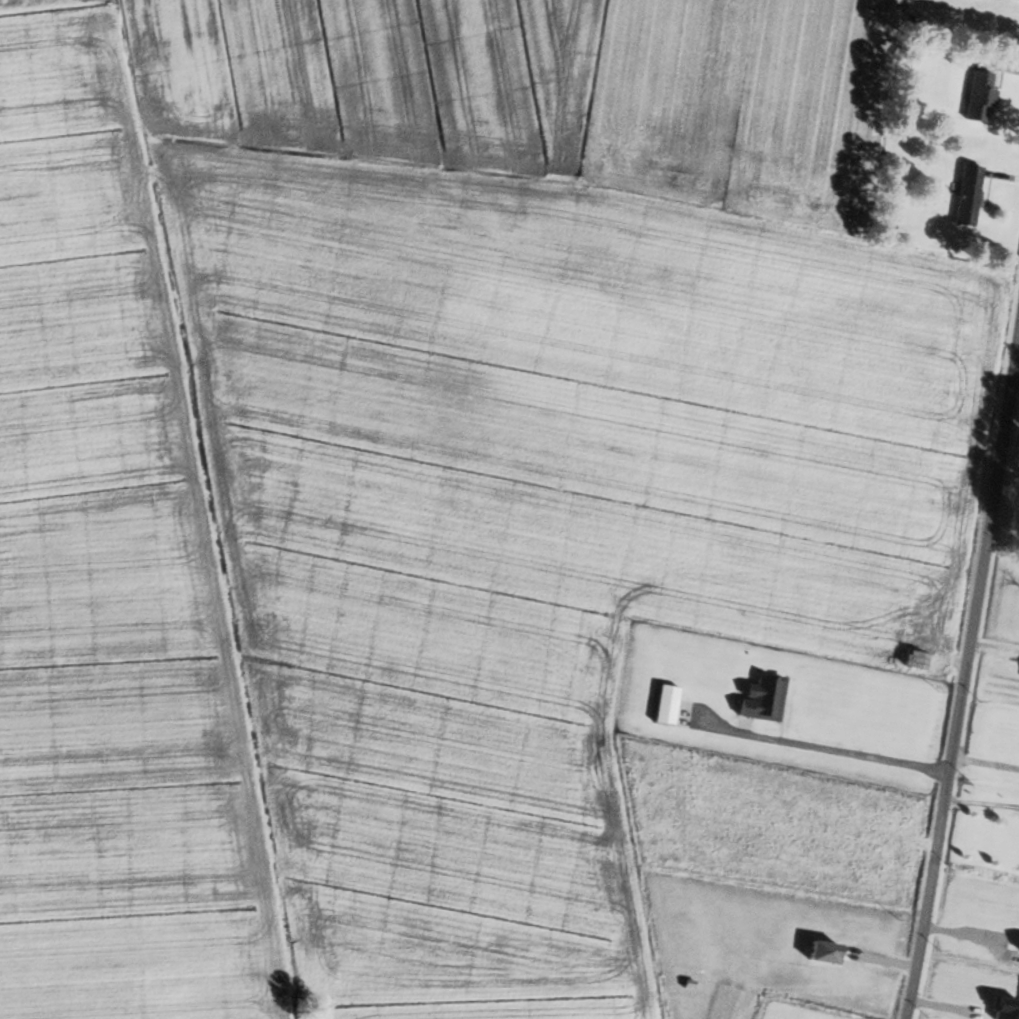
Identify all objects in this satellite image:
building: (976, 95)
building: (963, 194)
road: (965, 667)
building: (1018, 675)
road: (837, 750)
road: (983, 761)
road: (981, 802)

